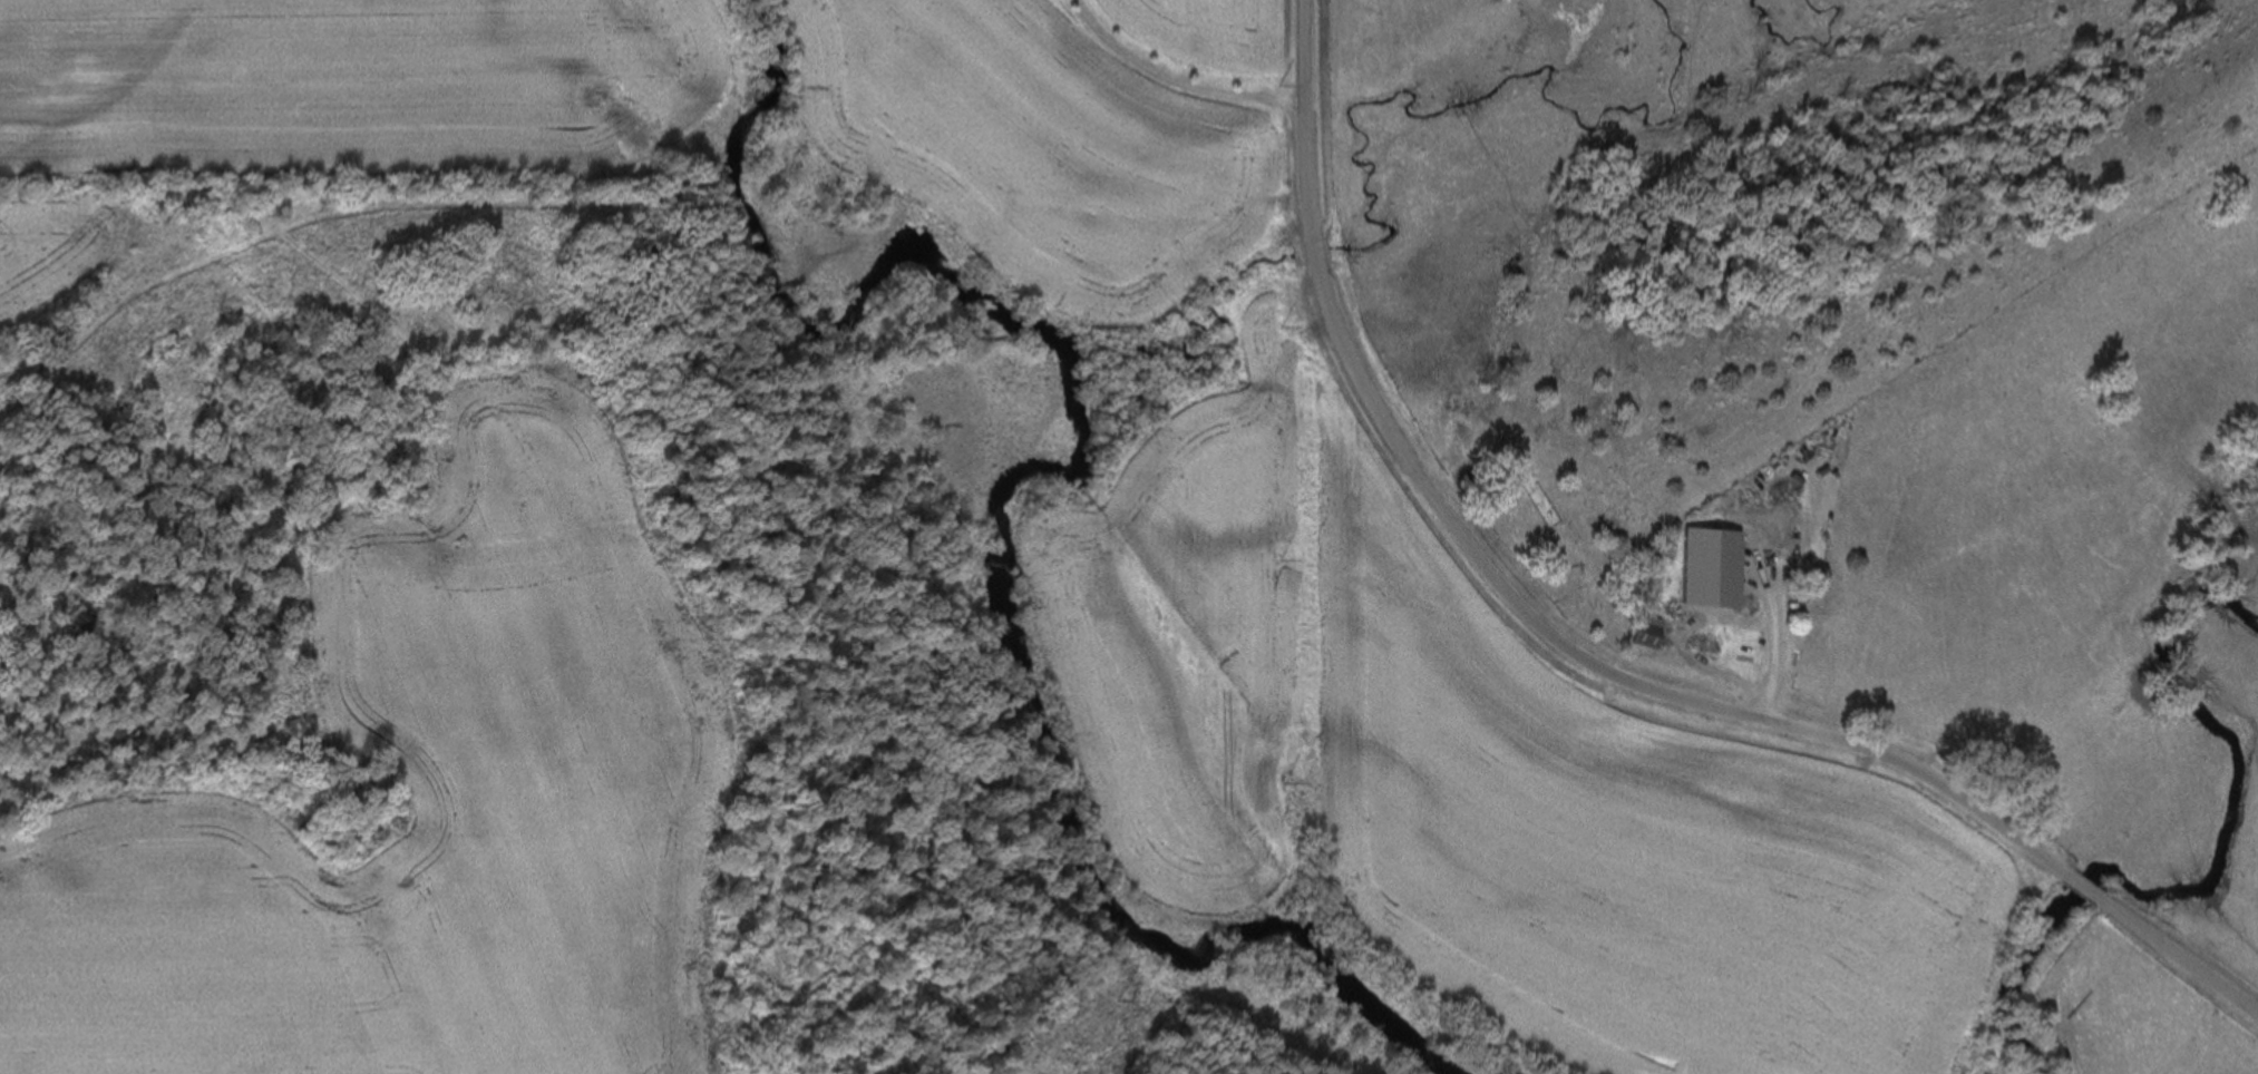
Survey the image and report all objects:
building: (1639, 632)
road: (1590, 664)

